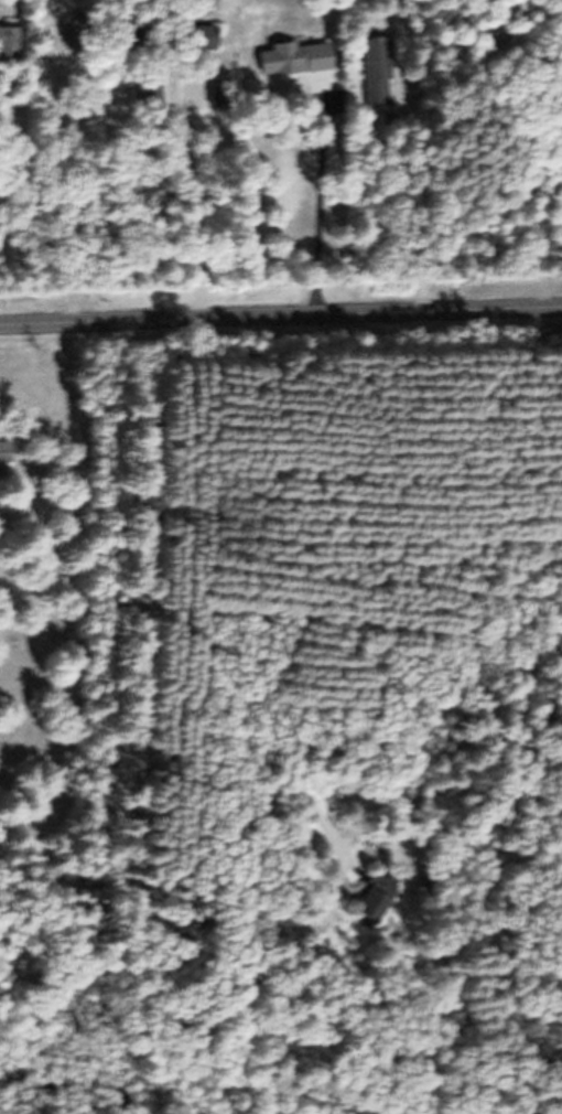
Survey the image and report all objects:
building: (11, 53)
building: (315, 65)
road: (121, 192)
road: (314, 212)
road: (280, 315)
building: (3, 464)
building: (387, 908)

